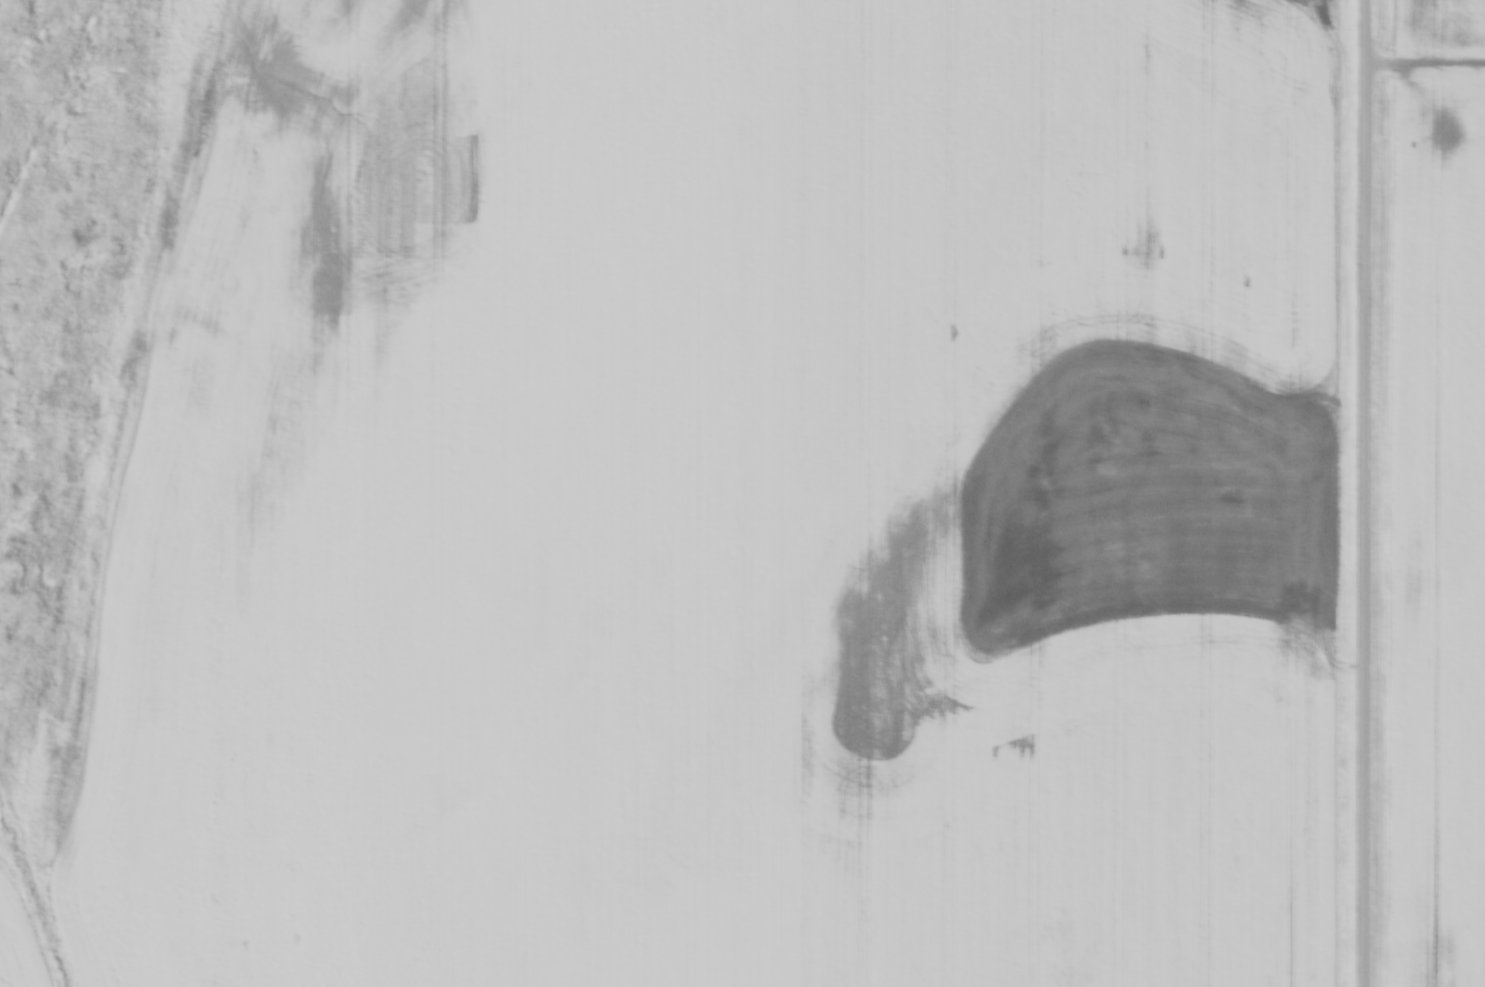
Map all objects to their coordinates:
road: (1367, 493)

